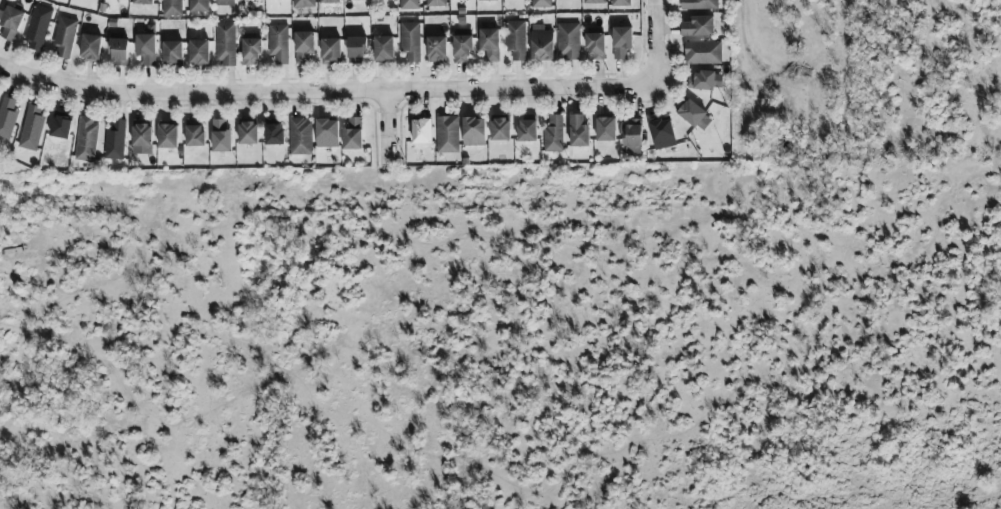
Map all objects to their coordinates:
building: (346, 0)
building: (488, 0)
building: (330, 1)
building: (143, 2)
building: (225, 2)
building: (435, 2)
building: (594, 2)
building: (620, 2)
building: (303, 3)
building: (541, 3)
building: (409, 4)
building: (698, 4)
building: (198, 5)
building: (172, 8)
building: (10, 22)
building: (698, 27)
building: (38, 28)
building: (64, 38)
building: (516, 40)
building: (410, 41)
building: (568, 41)
building: (621, 42)
road: (649, 42)
building: (278, 43)
building: (490, 43)
building: (541, 43)
building: (225, 44)
building: (303, 46)
building: (595, 46)
building: (90, 47)
building: (462, 47)
building: (383, 48)
building: (146, 49)
building: (436, 49)
building: (118, 50)
building: (250, 50)
building: (356, 50)
building: (331, 51)
building: (199, 52)
building: (702, 52)
building: (172, 53)
building: (701, 81)
road: (323, 89)
building: (690, 112)
building: (7, 117)
building: (32, 127)
building: (60, 127)
building: (500, 129)
building: (605, 129)
building: (421, 131)
building: (474, 131)
building: (527, 131)
building: (578, 131)
building: (633, 132)
building: (248, 133)
building: (274, 133)
building: (326, 133)
building: (352, 134)
building: (447, 134)
building: (553, 134)
building: (662, 134)
building: (142, 135)
building: (195, 135)
building: (167, 136)
building: (220, 136)
building: (301, 137)
road: (389, 137)
building: (86, 139)
building: (115, 140)

